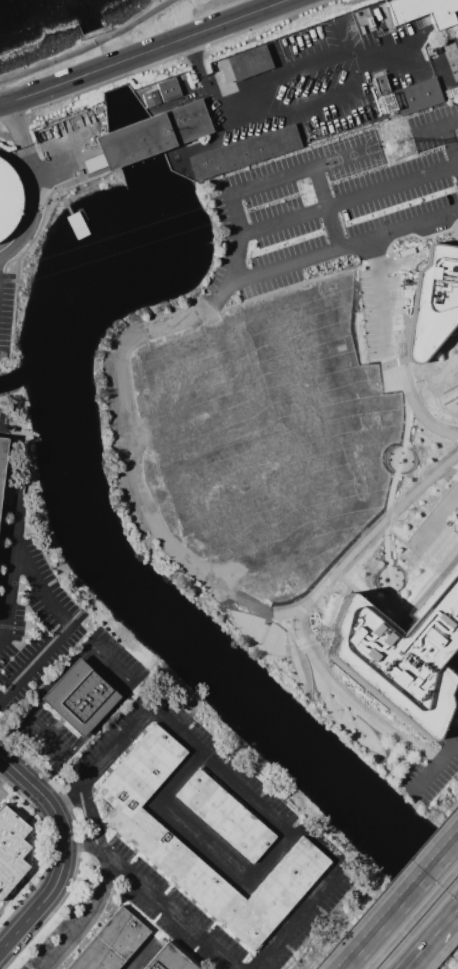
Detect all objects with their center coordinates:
building: (422, 11)
road: (347, 53)
road: (145, 54)
road: (414, 58)
road: (164, 60)
building: (244, 64)
building: (168, 89)
building: (417, 95)
building: (149, 98)
road: (430, 129)
building: (152, 134)
road: (450, 136)
power tower: (403, 150)
building: (242, 152)
building: (92, 164)
road: (282, 178)
road: (45, 188)
road: (318, 188)
building: (7, 200)
road: (331, 228)
road: (343, 247)
road: (378, 298)
building: (432, 301)
road: (180, 318)
road: (415, 412)
road: (2, 423)
building: (3, 463)
road: (387, 506)
road: (436, 513)
road: (11, 566)
road: (41, 586)
road: (301, 608)
road: (11, 626)
building: (402, 649)
road: (34, 666)
road: (48, 683)
building: (81, 698)
road: (172, 724)
road: (4, 766)
road: (434, 766)
building: (223, 815)
road: (201, 846)
building: (161, 849)
road: (46, 850)
road: (77, 850)
building: (12, 851)
road: (65, 853)
road: (406, 909)
road: (178, 919)
road: (430, 937)
building: (113, 943)
road: (139, 956)
building: (169, 960)

